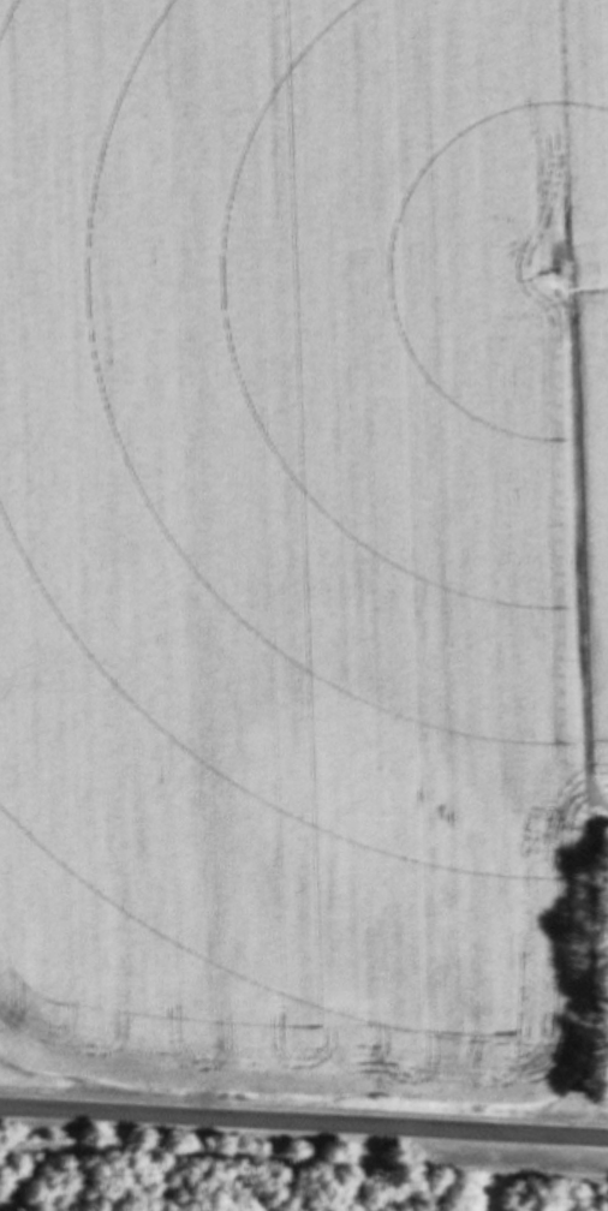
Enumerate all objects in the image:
road: (303, 1123)

